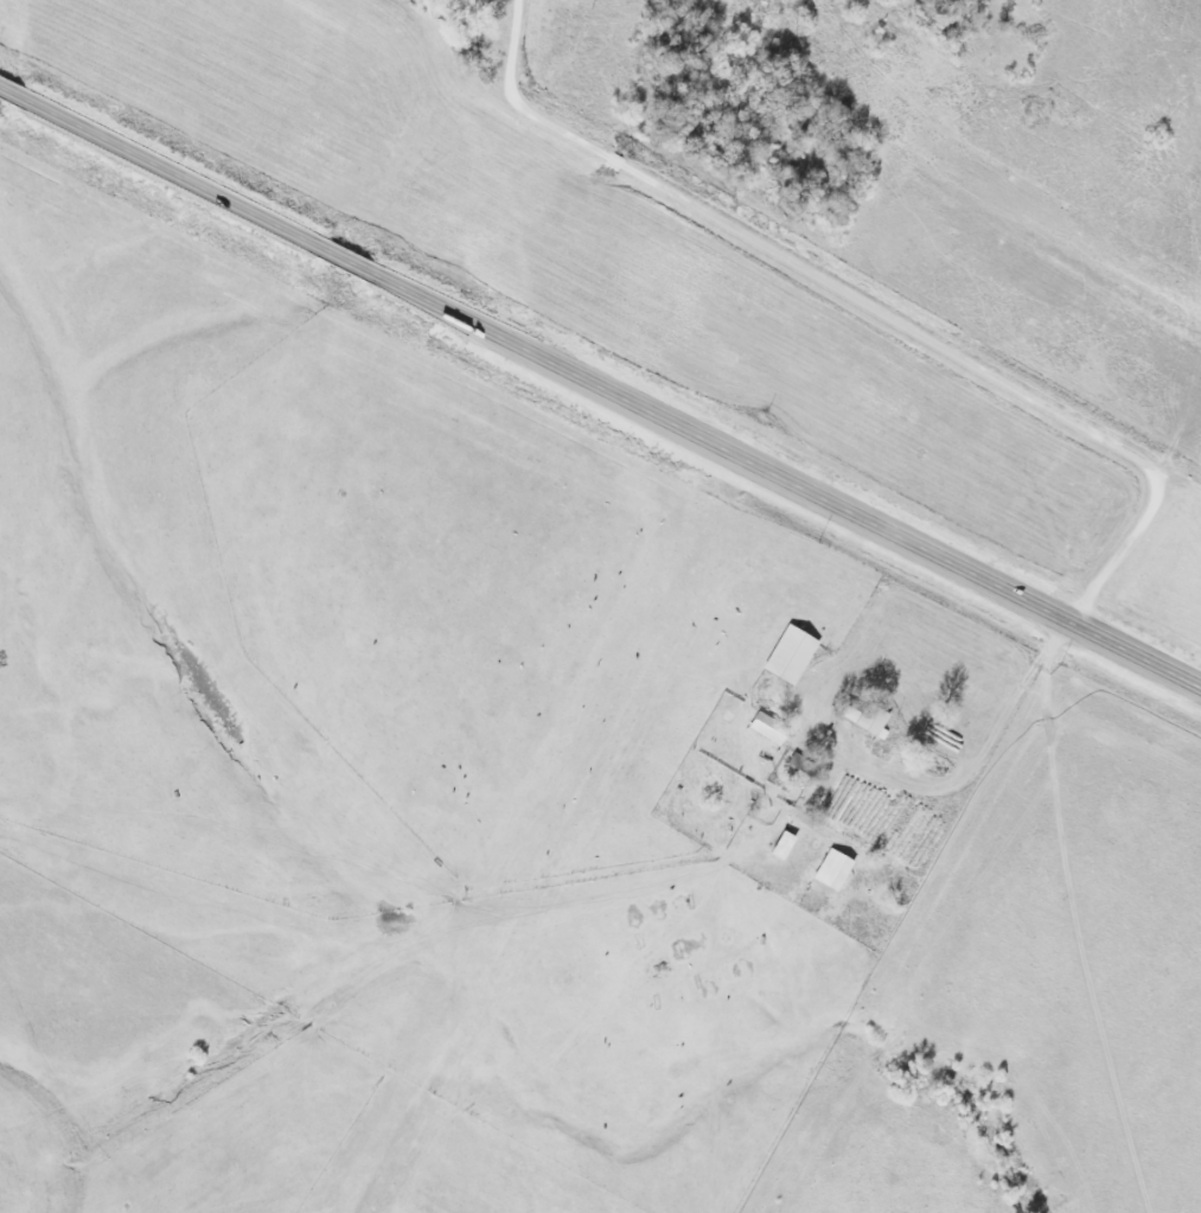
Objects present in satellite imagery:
road: (862, 304)
road: (600, 385)
building: (793, 653)
building: (870, 717)
building: (771, 728)
building: (836, 868)

